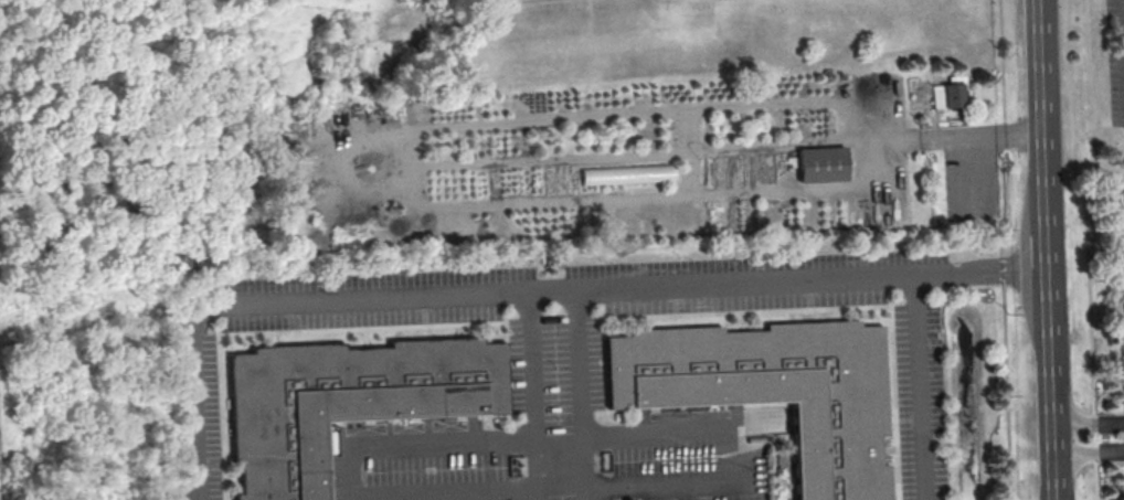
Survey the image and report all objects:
parking lot: (1117, 62)
building: (947, 95)
road: (699, 111)
road: (974, 139)
parking lot: (1123, 153)
building: (820, 163)
road: (1089, 246)
road: (1046, 249)
road: (980, 273)
road: (463, 295)
parking lot: (1120, 318)
road: (920, 387)
building: (773, 390)
building: (344, 400)
road: (1086, 423)
road: (697, 434)
road: (488, 439)
road: (1086, 450)
road: (585, 466)
road: (538, 468)
road: (520, 499)

